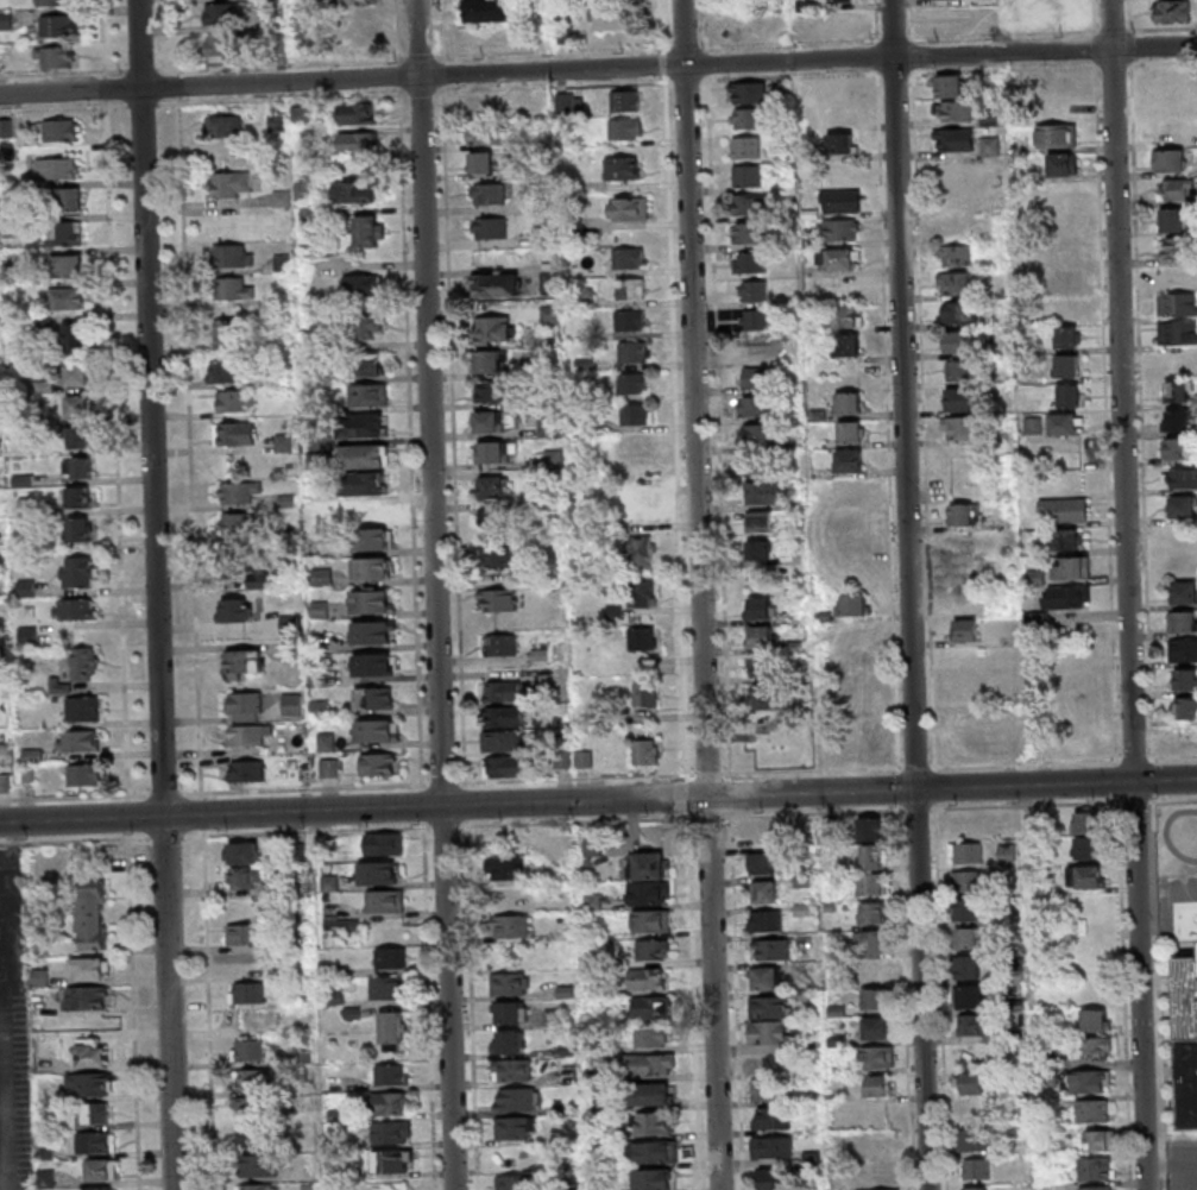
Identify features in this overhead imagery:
building: (52, 1)
building: (842, 1)
building: (355, 2)
building: (487, 10)
building: (1167, 10)
building: (219, 14)
building: (1052, 15)
building: (613, 18)
building: (843, 24)
building: (56, 25)
building: (359, 30)
building: (220, 44)
building: (58, 56)
road: (598, 68)
building: (1173, 77)
building: (950, 86)
building: (748, 93)
building: (625, 101)
road: (140, 105)
building: (480, 108)
building: (955, 112)
building: (301, 113)
building: (357, 113)
building: (746, 119)
building: (277, 124)
building: (223, 125)
building: (625, 128)
building: (61, 130)
building: (1170, 131)
building: (485, 132)
building: (1057, 136)
building: (955, 141)
building: (358, 143)
building: (840, 143)
building: (746, 146)
building: (989, 146)
building: (1168, 159)
building: (481, 162)
building: (1064, 163)
building: (61, 168)
building: (625, 168)
building: (956, 169)
building: (748, 175)
building: (228, 183)
building: (1176, 189)
building: (355, 191)
building: (490, 193)
building: (67, 199)
building: (842, 201)
building: (746, 204)
building: (629, 208)
building: (1174, 219)
building: (1061, 222)
building: (491, 227)
building: (842, 229)
building: (370, 231)
building: (748, 232)
building: (64, 233)
building: (1174, 247)
building: (1060, 250)
building: (956, 254)
building: (233, 256)
building: (628, 258)
building: (839, 259)
building: (749, 262)
building: (69, 265)
building: (1178, 276)
building: (1063, 279)
building: (957, 283)
building: (361, 284)
building: (498, 284)
building: (630, 288)
building: (234, 289)
building: (752, 290)
building: (65, 298)
building: (1177, 304)
building: (1061, 309)
building: (959, 311)
building: (848, 316)
building: (755, 319)
building: (630, 320)
building: (367, 326)
building: (492, 330)
building: (226, 332)
building: (1178, 333)
building: (1067, 336)
building: (74, 338)
building: (956, 341)
building: (846, 345)
building: (755, 347)
building: (632, 352)
building: (491, 361)
building: (370, 364)
building: (1067, 365)
building: (225, 370)
building: (960, 371)
building: (77, 376)
building: (757, 377)
building: (632, 384)
building: (492, 390)
road: (1120, 390)
building: (1178, 391)
building: (368, 393)
building: (1070, 395)
building: (962, 399)
building: (234, 401)
building: (849, 402)
building: (754, 405)
building: (77, 407)
building: (636, 414)
building: (1178, 420)
building: (487, 421)
building: (1065, 423)
building: (364, 424)
building: (547, 426)
building: (962, 429)
building: (851, 432)
building: (234, 433)
building: (757, 434)
building: (77, 436)
building: (284, 442)
building: (636, 446)
building: (1178, 448)
road: (115, 451)
building: (490, 452)
building: (365, 455)
building: (850, 459)
building: (761, 464)
building: (77, 466)
building: (1183, 477)
building: (365, 483)
building: (492, 486)
building: (849, 489)
building: (238, 491)
building: (763, 492)
building: (80, 496)
building: (634, 504)
building: (1183, 506)
building: (1064, 510)
building: (365, 514)
building: (849, 517)
building: (493, 518)
building: (760, 521)
building: (239, 523)
building: (77, 529)
building: (371, 539)
building: (1069, 539)
building: (853, 547)
building: (758, 548)
building: (641, 550)
building: (494, 553)
building: (232, 560)
building: (371, 567)
building: (1072, 567)
building: (76, 572)
building: (258, 579)
building: (1184, 592)
building: (642, 593)
road: (156, 594)
road: (434, 594)
road: (699, 594)
road: (907, 594)
building: (1067, 596)
building: (497, 599)
building: (370, 600)
building: (852, 604)
building: (760, 607)
building: (74, 609)
building: (234, 609)
building: (1182, 621)
building: (289, 623)
building: (966, 629)
building: (371, 631)
building: (761, 637)
building: (643, 638)
building: (499, 644)
building: (1183, 649)
building: (857, 662)
building: (83, 663)
building: (244, 663)
building: (372, 663)
building: (761, 666)
building: (1184, 679)
building: (1076, 682)
building: (970, 686)
building: (502, 691)
building: (857, 692)
building: (644, 693)
building: (763, 695)
building: (373, 698)
building: (291, 703)
building: (244, 706)
building: (1184, 707)
building: (82, 709)
building: (319, 709)
building: (1077, 712)
building: (505, 716)
building: (965, 716)
building: (858, 719)
building: (763, 722)
building: (374, 730)
building: (247, 735)
building: (1184, 736)
building: (78, 741)
building: (500, 741)
building: (1078, 741)
building: (971, 744)
building: (645, 751)
building: (379, 763)
building: (506, 766)
building: (246, 770)
building: (84, 775)
road: (1165, 780)
building: (5, 782)
road: (566, 801)
building: (972, 823)
building: (1085, 823)
building: (869, 829)
road: (18, 836)
building: (384, 844)
building: (1088, 846)
road: (18, 852)
building: (965, 852)
building: (241, 854)
building: (1006, 854)
road: (8, 857)
building: (871, 857)
building: (761, 863)
building: (648, 864)
building: (506, 868)
building: (378, 871)
building: (1086, 876)
building: (246, 879)
building: (966, 882)
building: (329, 883)
building: (871, 884)
building: (764, 890)
building: (649, 892)
building: (512, 896)
building: (384, 901)
building: (966, 911)
building: (90, 913)
building: (871, 913)
building: (651, 920)
building: (766, 920)
building: (341, 926)
building: (510, 926)
road: (18, 932)
building: (246, 933)
building: (966, 939)
building: (872, 943)
building: (653, 949)
building: (770, 949)
building: (391, 957)
building: (968, 967)
building: (89, 968)
building: (875, 970)
building: (764, 977)
building: (647, 978)
building: (508, 983)
road: (1138, 986)
building: (386, 987)
building: (247, 991)
building: (969, 996)
building: (86, 997)
building: (875, 1000)
building: (653, 1007)
building: (768, 1007)
road: (208, 1009)
road: (133, 1010)
building: (511, 1012)
building: (1094, 1020)
building: (972, 1024)
parking lot: (14, 1028)
building: (878, 1028)
building: (391, 1031)
building: (768, 1033)
building: (654, 1035)
building: (1187, 1040)
building: (508, 1041)
building: (1094, 1047)
building: (251, 1050)
building: (876, 1057)
building: (651, 1065)
building: (764, 1065)
building: (511, 1069)
building: (390, 1073)
building: (256, 1079)
building: (1089, 1081)
building: (972, 1082)
building: (90, 1084)
building: (876, 1085)
road: (7, 1090)
building: (768, 1090)
building: (651, 1094)
building: (517, 1098)
building: (391, 1103)
building: (253, 1108)
building: (1092, 1110)
building: (95, 1113)
building: (771, 1117)
building: (653, 1123)
building: (516, 1127)
building: (391, 1132)
building: (256, 1137)
building: (972, 1139)
building: (1100, 1139)
building: (96, 1141)
building: (771, 1147)
building: (655, 1151)
building: (392, 1161)
road: (1170, 1161)
building: (257, 1165)
building: (976, 1167)
building: (1095, 1167)
building: (101, 1169)
building: (653, 1178)
building: (770, 1179)
building: (516, 1182)
building: (257, 1186)
building: (99, 1188)
building: (976, 1188)
building: (1096, 1188)
building: (877, 1189)

